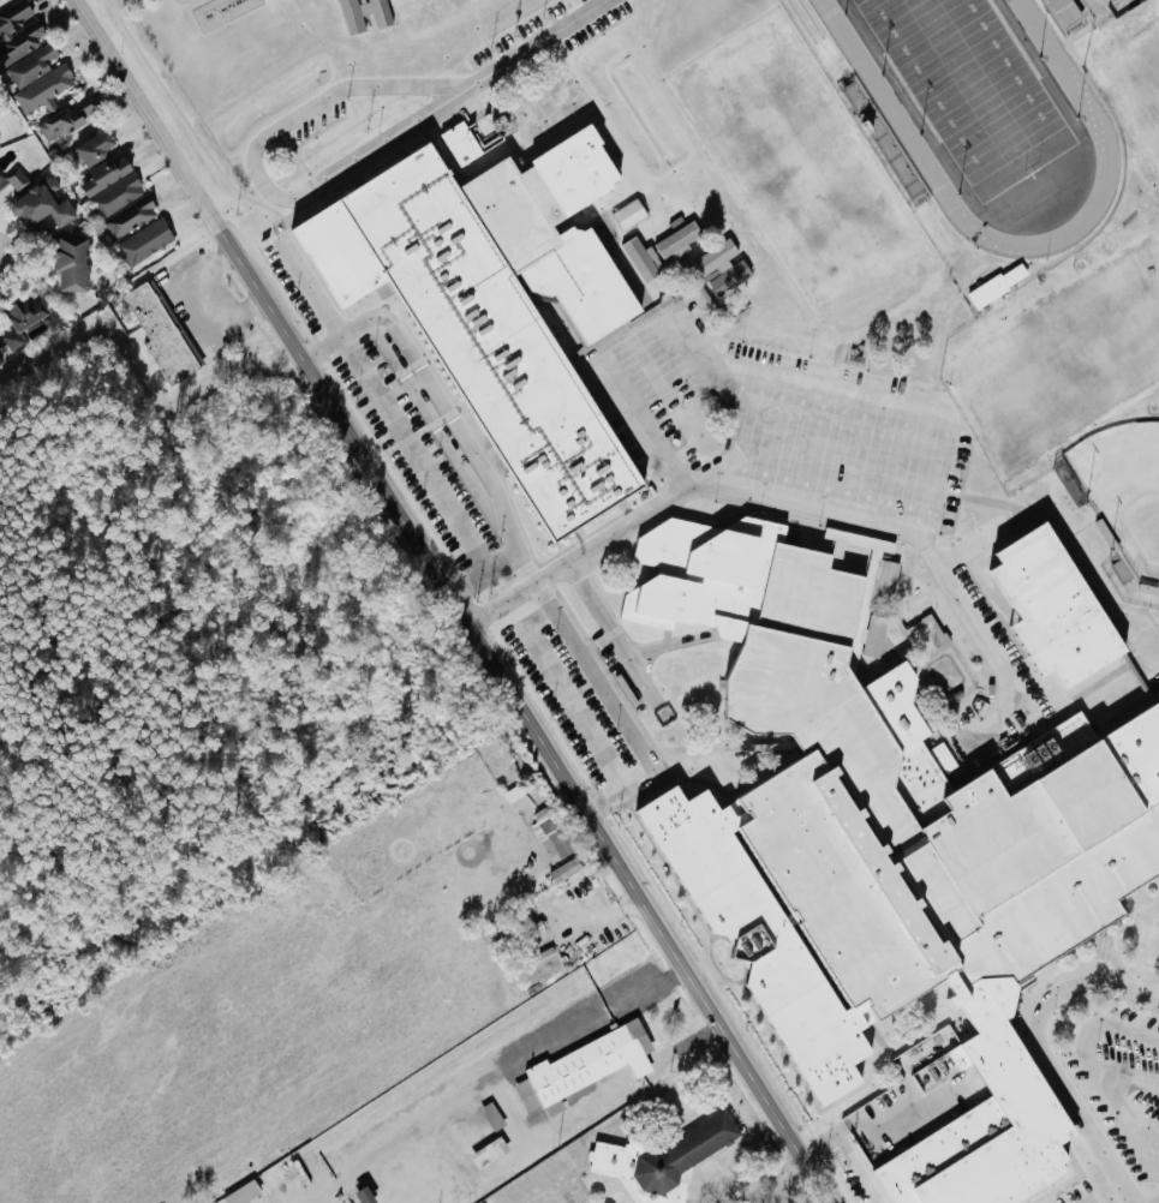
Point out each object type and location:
building: (375, 12)
building: (350, 17)
road: (539, 41)
building: (22, 46)
park: (967, 89)
building: (41, 90)
track: (976, 101)
building: (64, 119)
track: (901, 128)
building: (459, 143)
building: (91, 148)
road: (262, 174)
building: (102, 175)
building: (11, 184)
building: (40, 205)
building: (119, 207)
building: (627, 214)
road: (253, 221)
building: (142, 241)
road: (1077, 245)
building: (658, 250)
road: (7, 252)
building: (68, 263)
building: (719, 267)
building: (993, 286)
road: (312, 288)
road: (211, 300)
building: (496, 304)
building: (22, 317)
building: (157, 335)
parking lot: (655, 370)
road: (846, 393)
road: (442, 406)
parking lot: (840, 436)
park: (1123, 489)
road: (961, 491)
road: (688, 497)
road: (751, 497)
road: (583, 553)
building: (721, 558)
road: (443, 574)
building: (884, 576)
building: (692, 579)
building: (1040, 588)
building: (806, 597)
building: (858, 621)
road: (1152, 622)
road: (614, 630)
building: (871, 636)
road: (668, 645)
road: (1121, 654)
road: (1147, 672)
building: (687, 676)
road: (607, 677)
parking lot: (572, 704)
road: (613, 705)
building: (1124, 716)
building: (906, 743)
road: (715, 746)
building: (1039, 754)
building: (716, 765)
building: (969, 814)
building: (548, 833)
building: (563, 870)
building: (837, 887)
road: (616, 908)
road: (1155, 908)
road: (719, 938)
building: (759, 944)
building: (1153, 948)
road: (1118, 970)
road: (741, 972)
road: (656, 988)
crop: (318, 996)
road: (975, 1042)
road: (885, 1049)
road: (659, 1064)
building: (583, 1067)
parking lot: (1121, 1077)
road: (801, 1084)
road: (1047, 1090)
road: (644, 1103)
road: (513, 1108)
road: (465, 1109)
road: (1079, 1109)
building: (479, 1135)
parking lot: (978, 1148)
building: (662, 1159)
road: (856, 1167)
road: (763, 1177)
road: (820, 1178)
road: (530, 1186)
road: (566, 1186)
building: (240, 1193)
building: (362, 1196)

